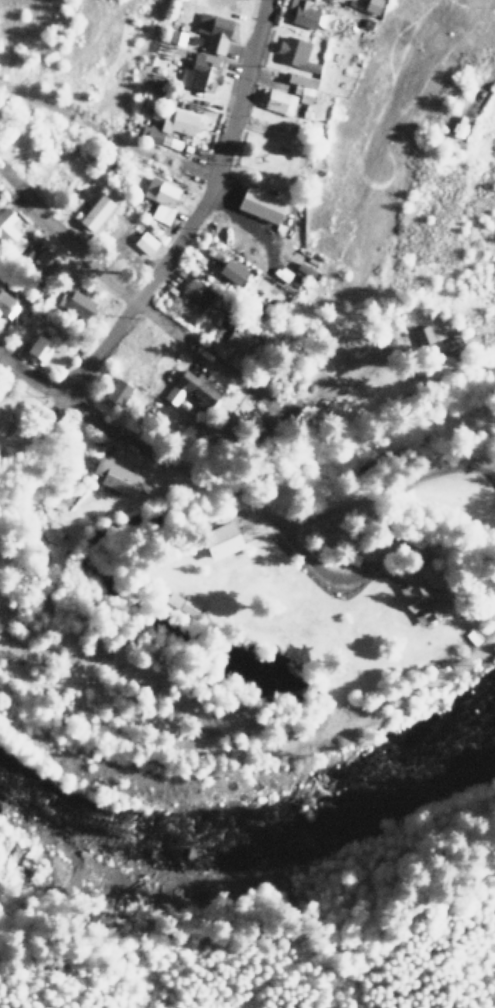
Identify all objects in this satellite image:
building: (372, 6)
building: (303, 15)
building: (214, 31)
building: (176, 37)
building: (295, 53)
building: (200, 72)
building: (302, 86)
building: (276, 101)
road: (82, 128)
building: (173, 128)
building: (160, 199)
building: (260, 205)
building: (94, 212)
building: (9, 232)
road: (181, 241)
building: (143, 242)
building: (231, 272)
building: (195, 294)
road: (131, 300)
building: (5, 304)
building: (76, 304)
building: (214, 334)
building: (422, 335)
building: (237, 340)
building: (41, 346)
building: (200, 386)
road: (327, 389)
building: (117, 392)
building: (172, 395)
building: (4, 422)
road: (187, 472)
building: (116, 477)
road: (392, 489)
building: (222, 540)
building: (421, 599)
river: (428, 766)
river: (173, 852)

